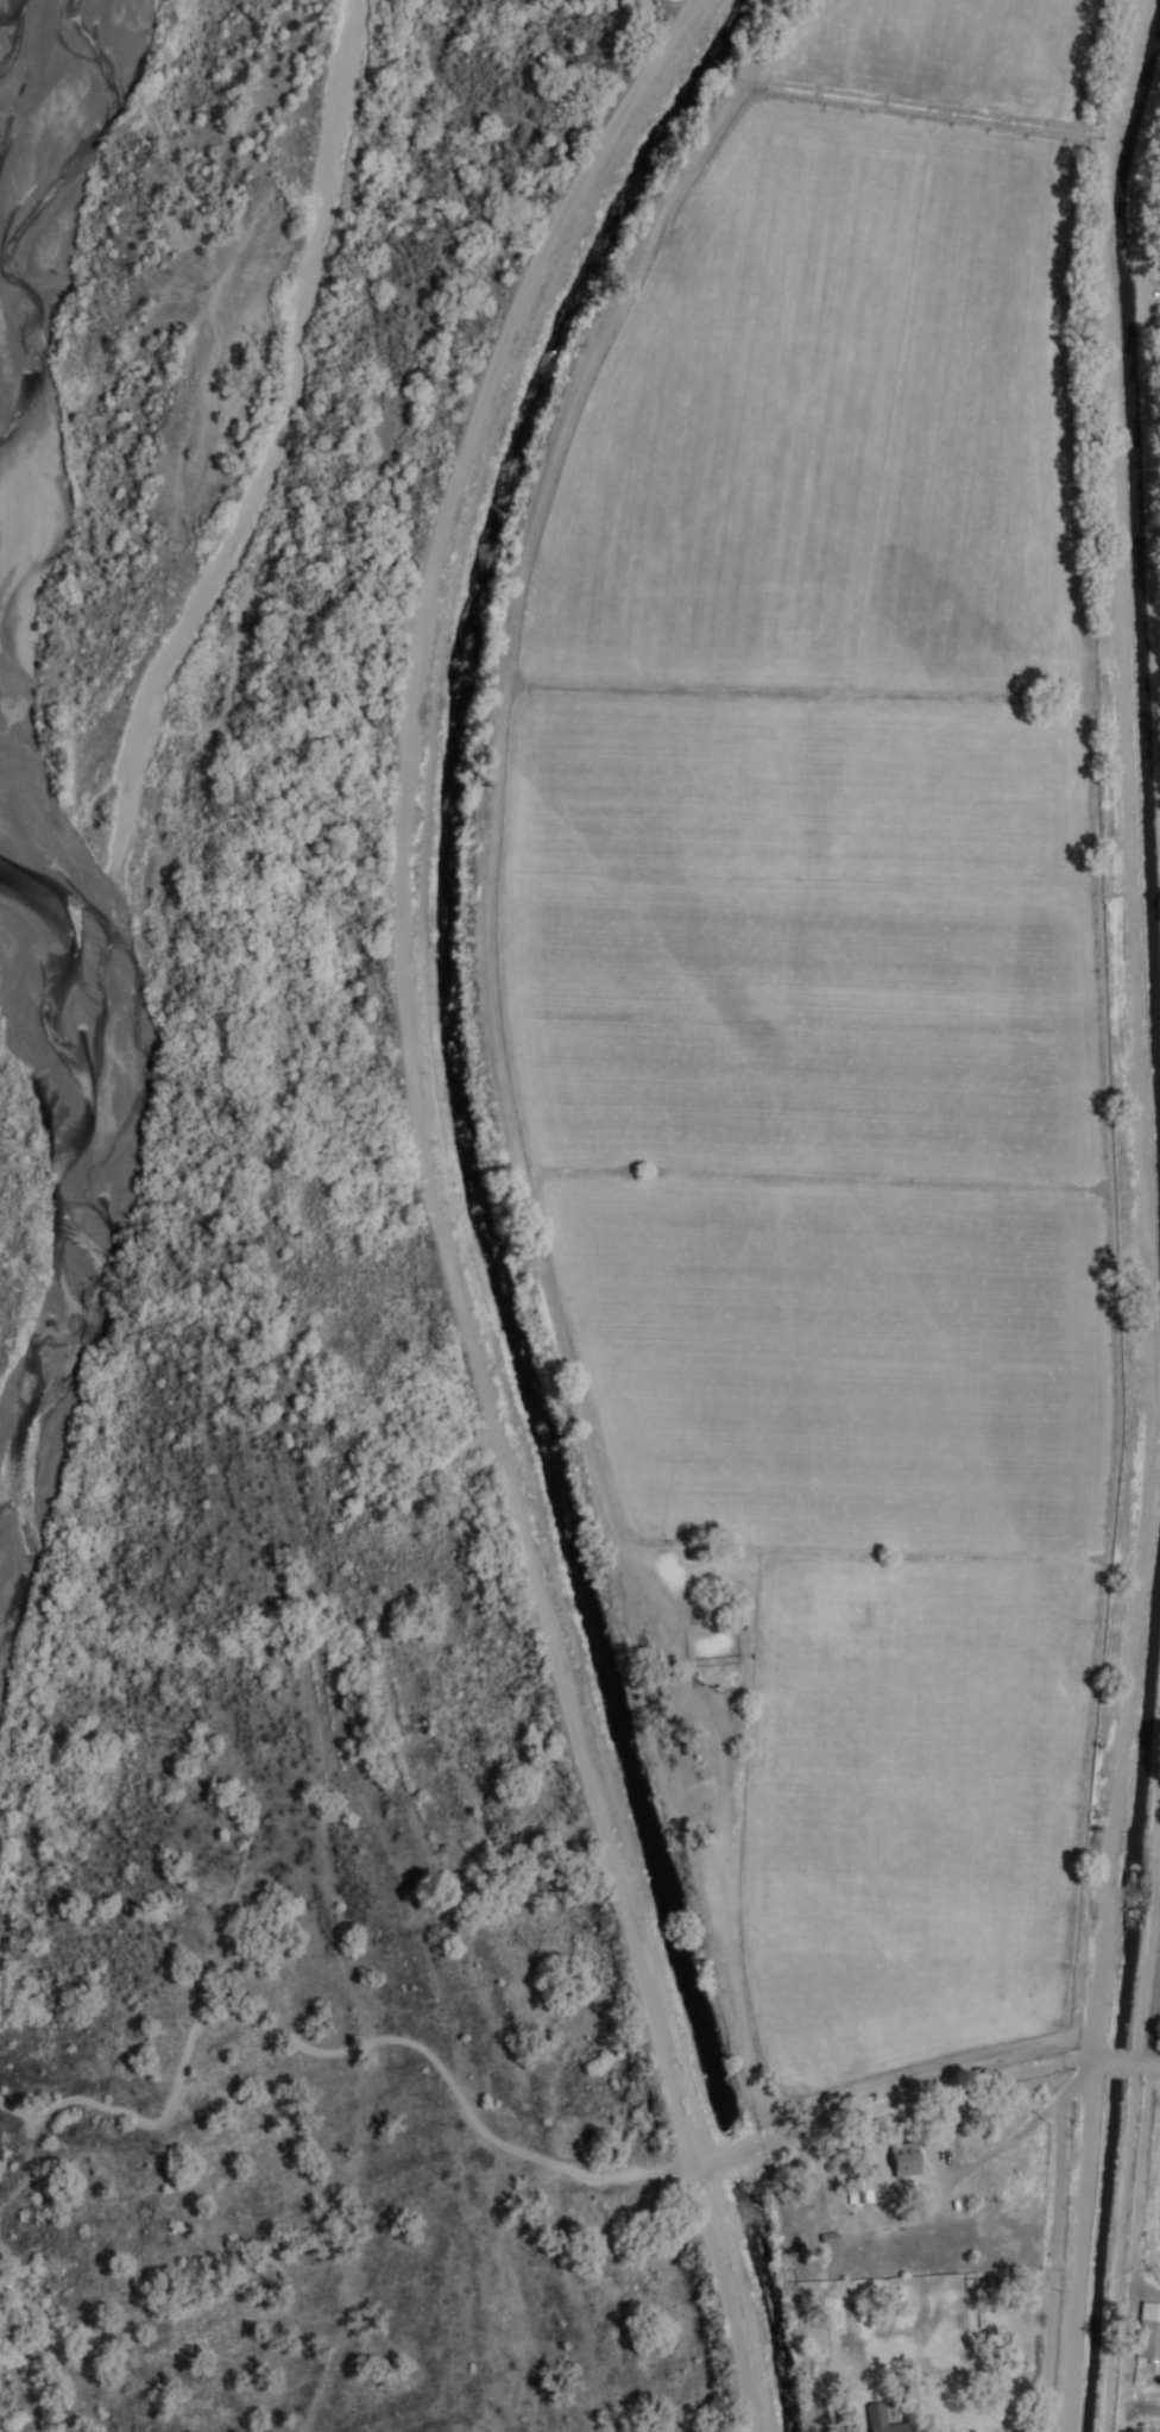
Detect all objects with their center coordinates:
river: (29, 107)
river: (101, 1189)
road: (977, 2080)
building: (910, 2156)
road: (1142, 2168)
building: (863, 2191)
road: (1083, 2246)
building: (1148, 2332)
building: (880, 2415)

